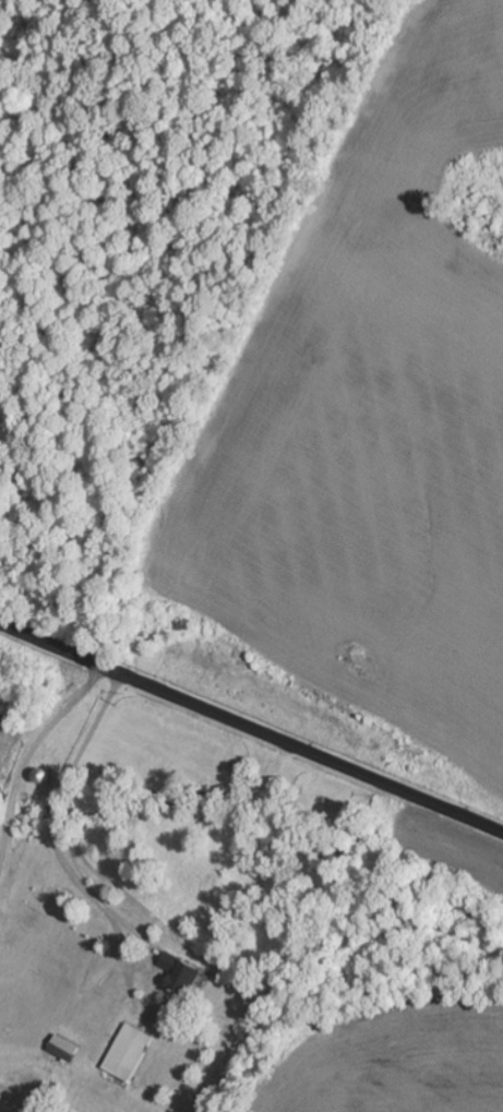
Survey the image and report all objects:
road: (251, 727)
building: (182, 973)
building: (131, 1053)

